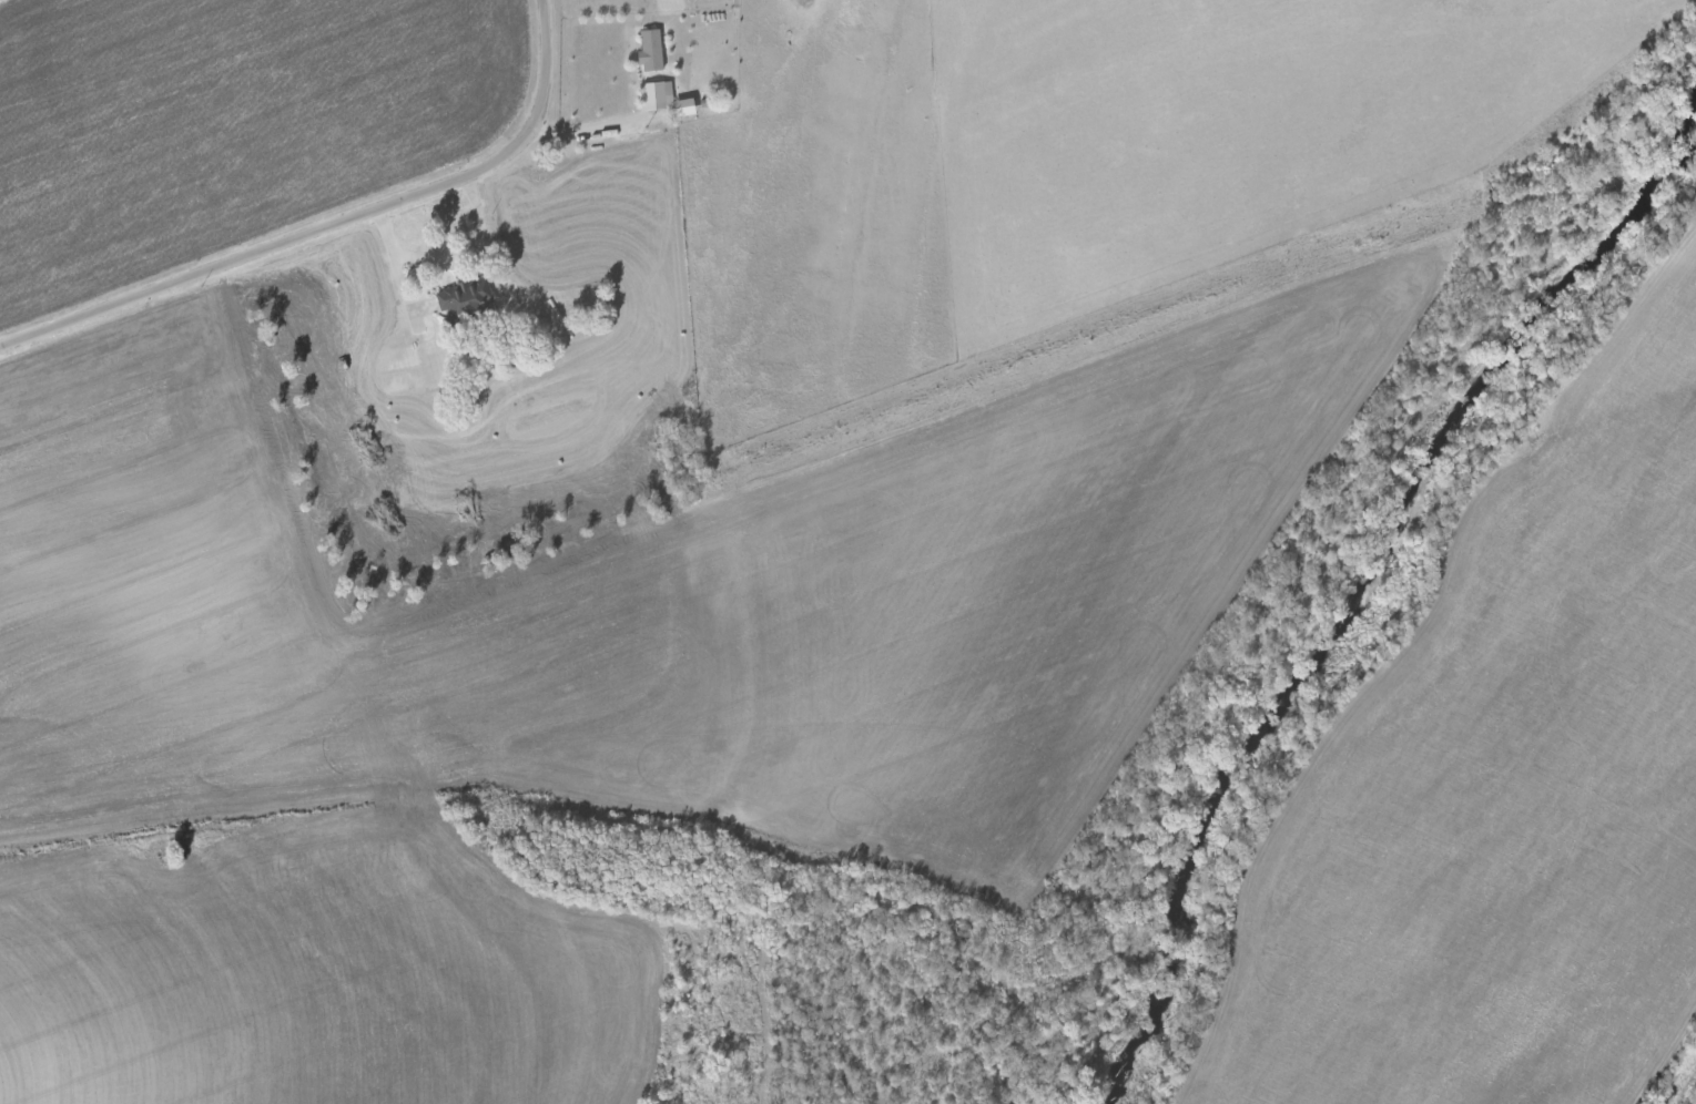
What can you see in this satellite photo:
building: (651, 50)
building: (658, 95)
road: (334, 224)

